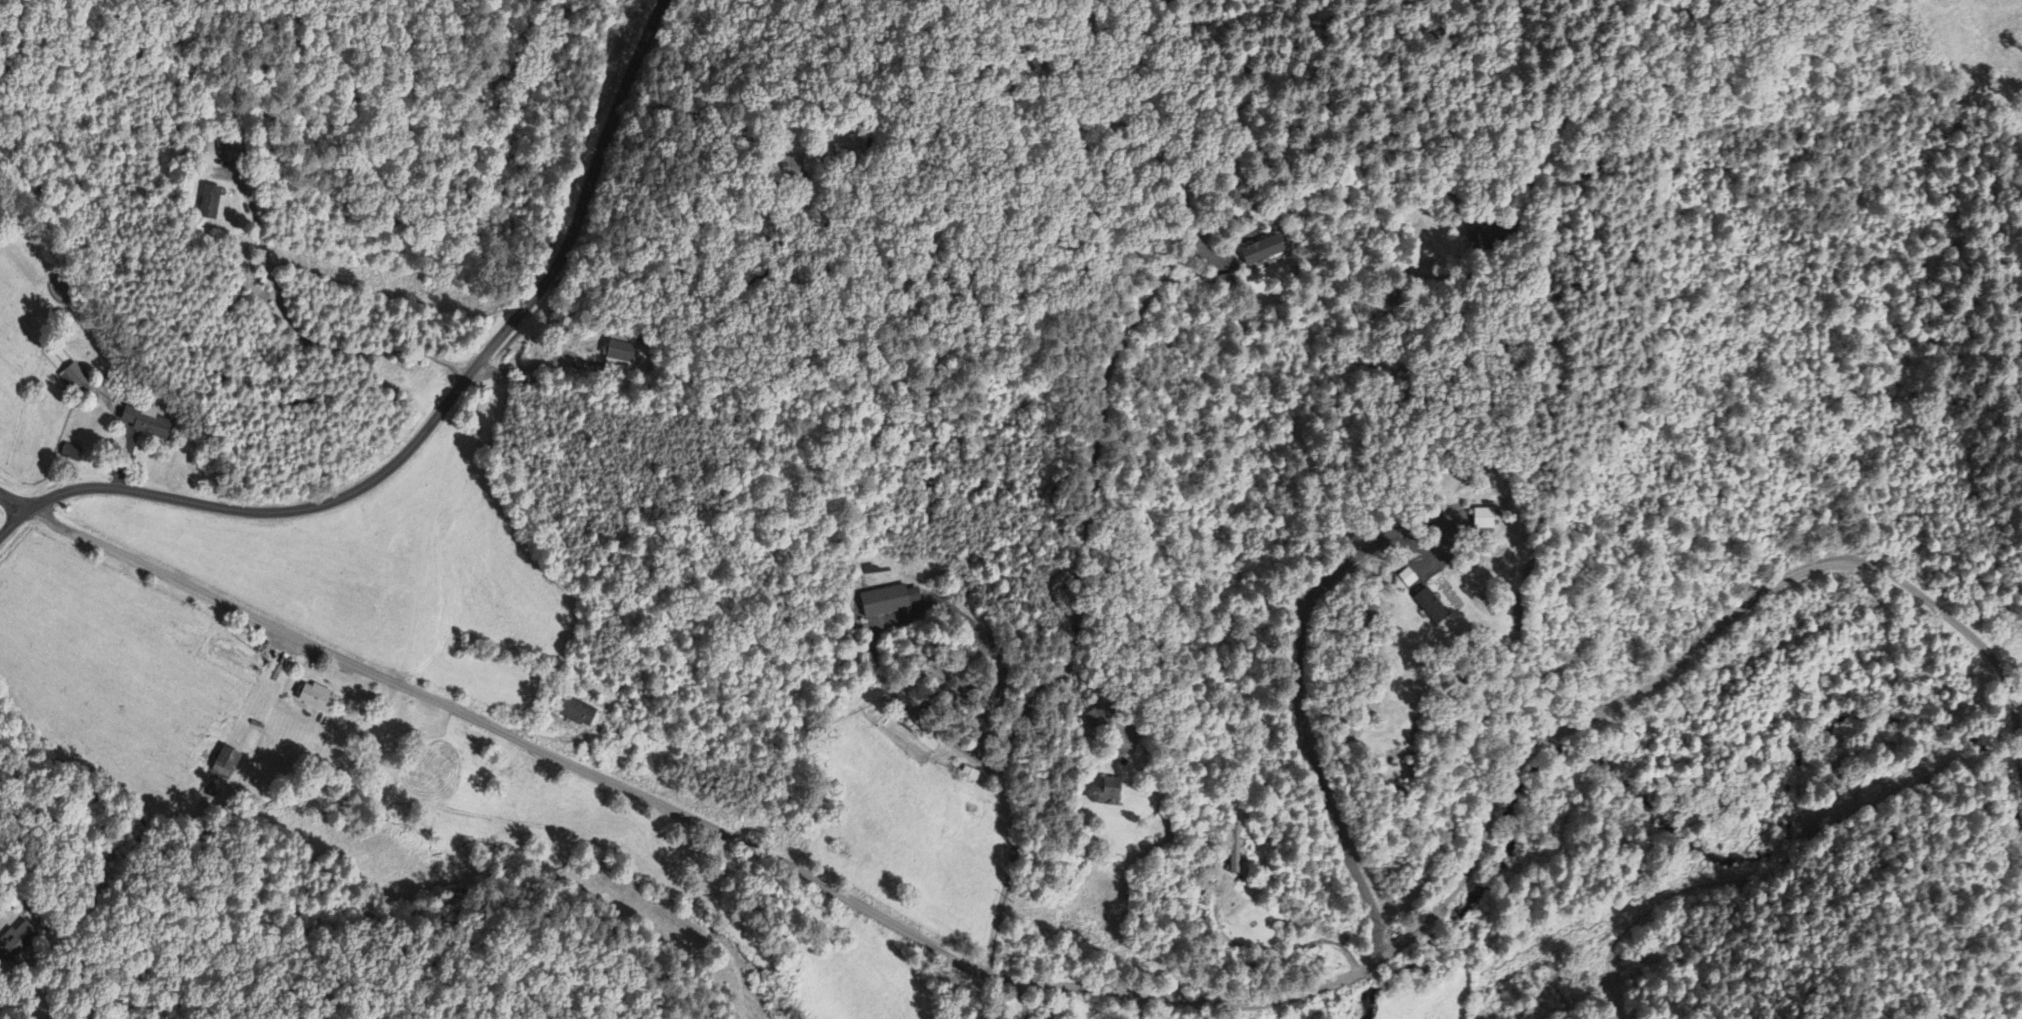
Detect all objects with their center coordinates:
building: (212, 204)
building: (1261, 251)
building: (619, 355)
building: (73, 378)
road: (432, 418)
building: (147, 422)
building: (71, 453)
road: (13, 500)
building: (1482, 519)
building: (1406, 578)
building: (887, 601)
building: (1429, 606)
building: (316, 698)
building: (577, 712)
building: (224, 763)
building: (1105, 791)
building: (1235, 850)
building: (20, 946)
road: (1120, 990)

